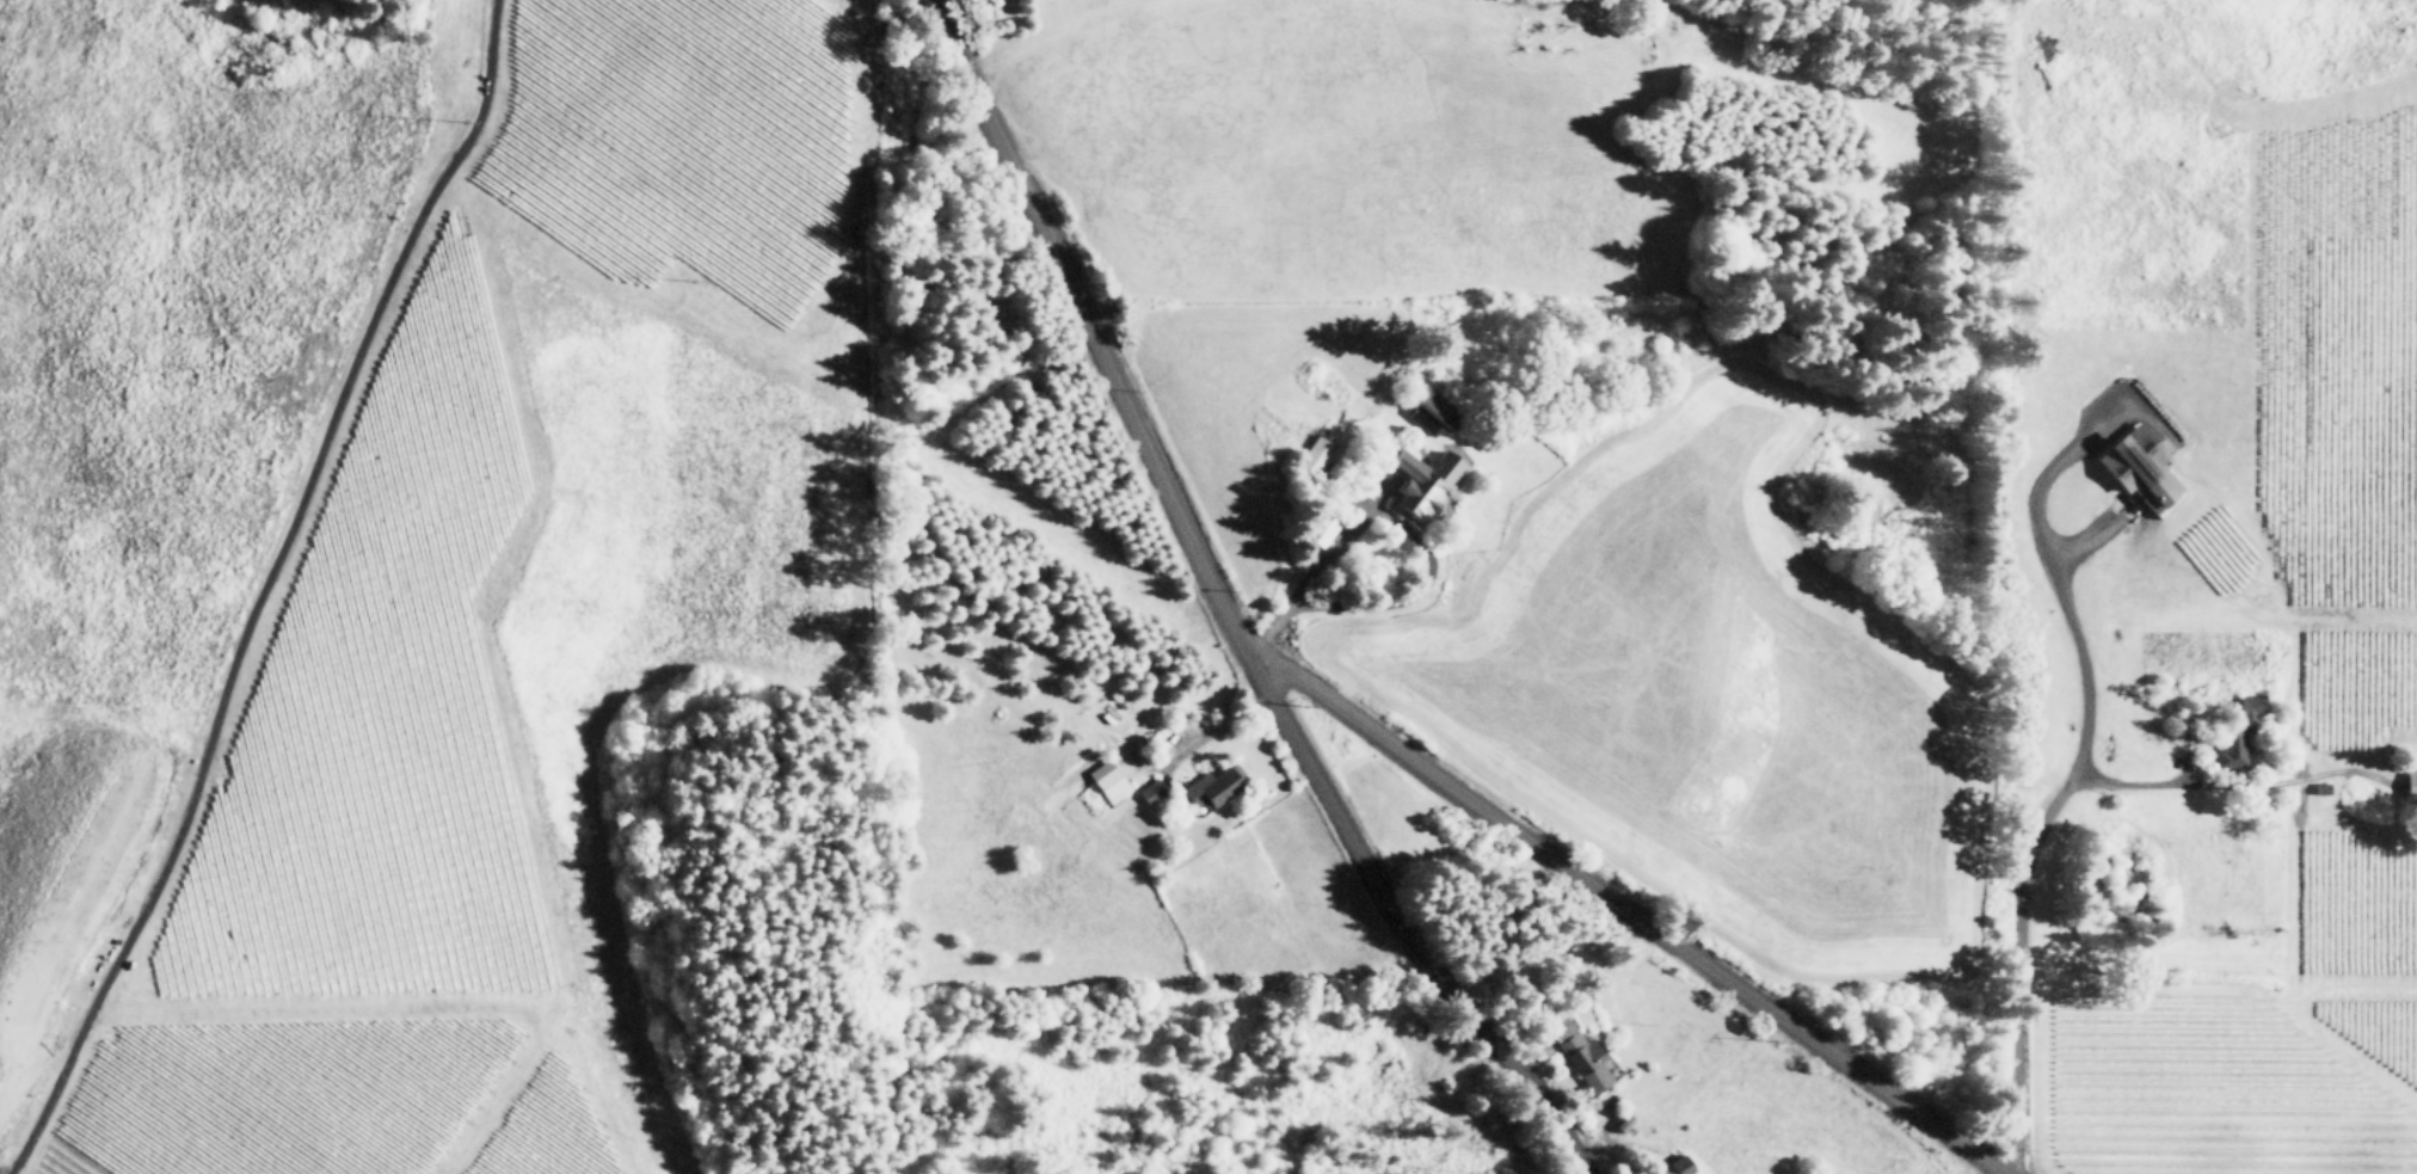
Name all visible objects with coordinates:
road: (1091, 334)
building: (1315, 455)
building: (2138, 467)
building: (1422, 482)
building: (1323, 529)
road: (1311, 572)
building: (2240, 731)
road: (2068, 775)
building: (1109, 781)
road: (2141, 782)
building: (1214, 785)
building: (1151, 791)
road: (1636, 917)
road: (1403, 932)
building: (1561, 1026)
building: (1585, 1061)
building: (1677, 1167)
road: (1999, 1173)

